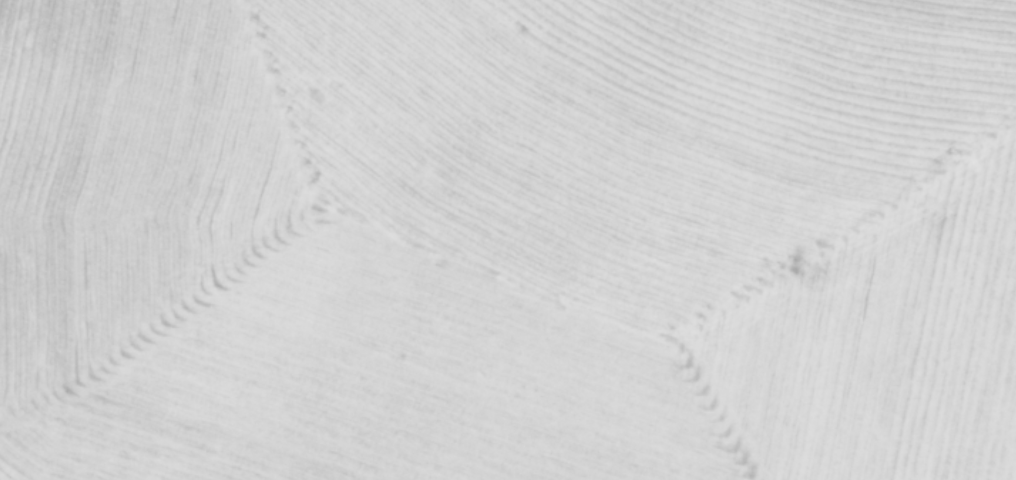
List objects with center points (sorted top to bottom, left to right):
crop: (508, 240)

